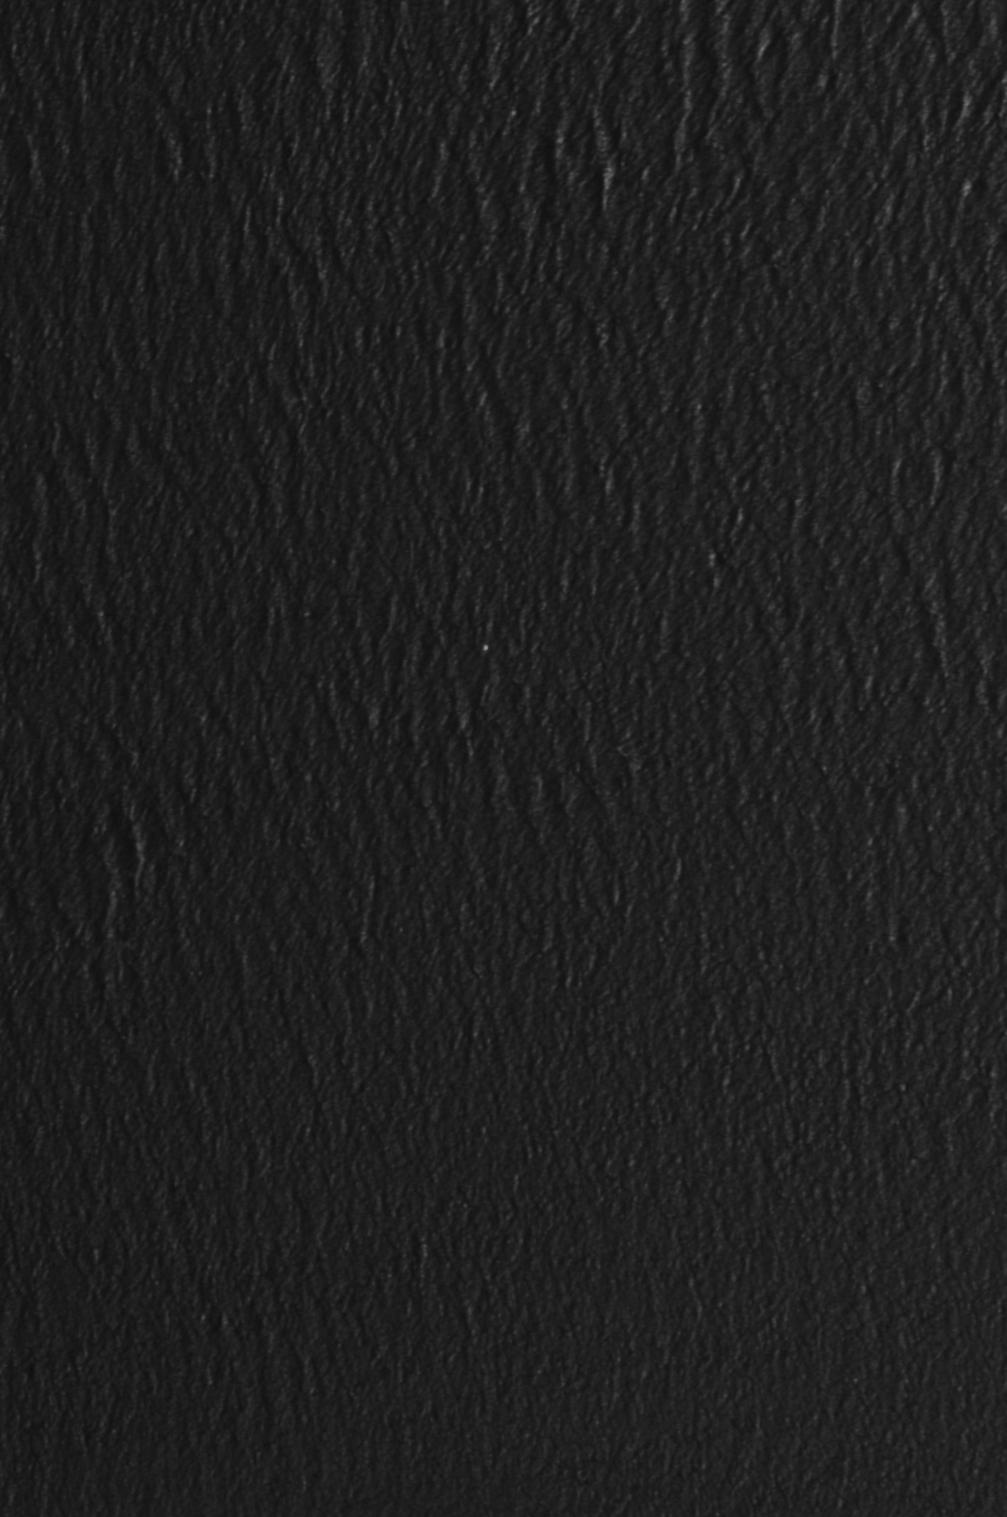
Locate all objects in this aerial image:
river: (513, 1113)

